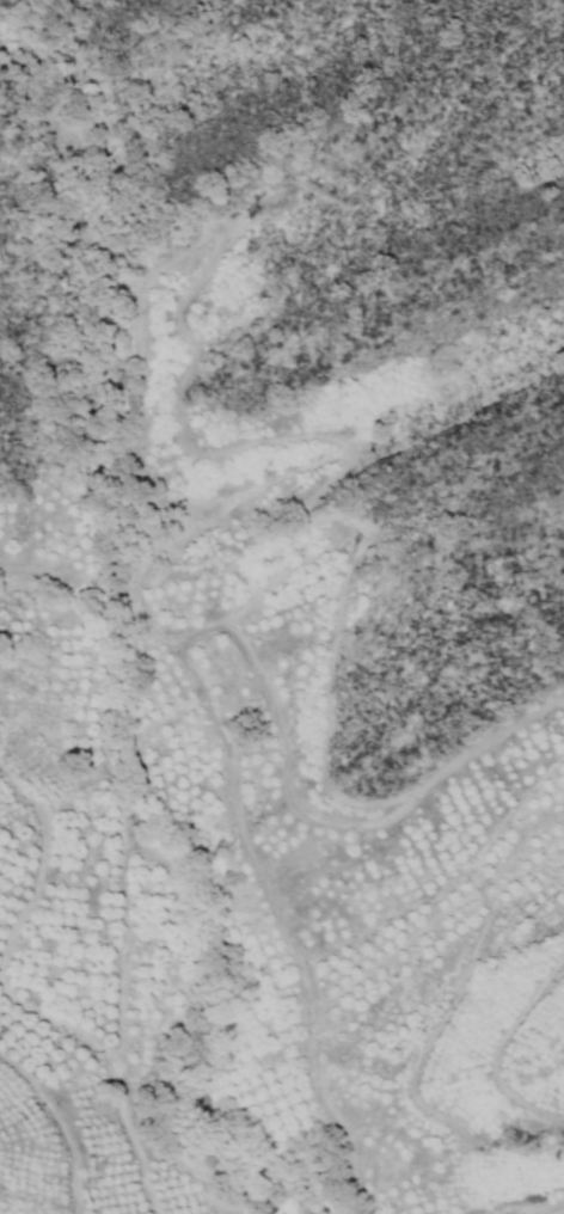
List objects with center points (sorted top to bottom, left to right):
road: (189, 657)
crop: (250, 899)

